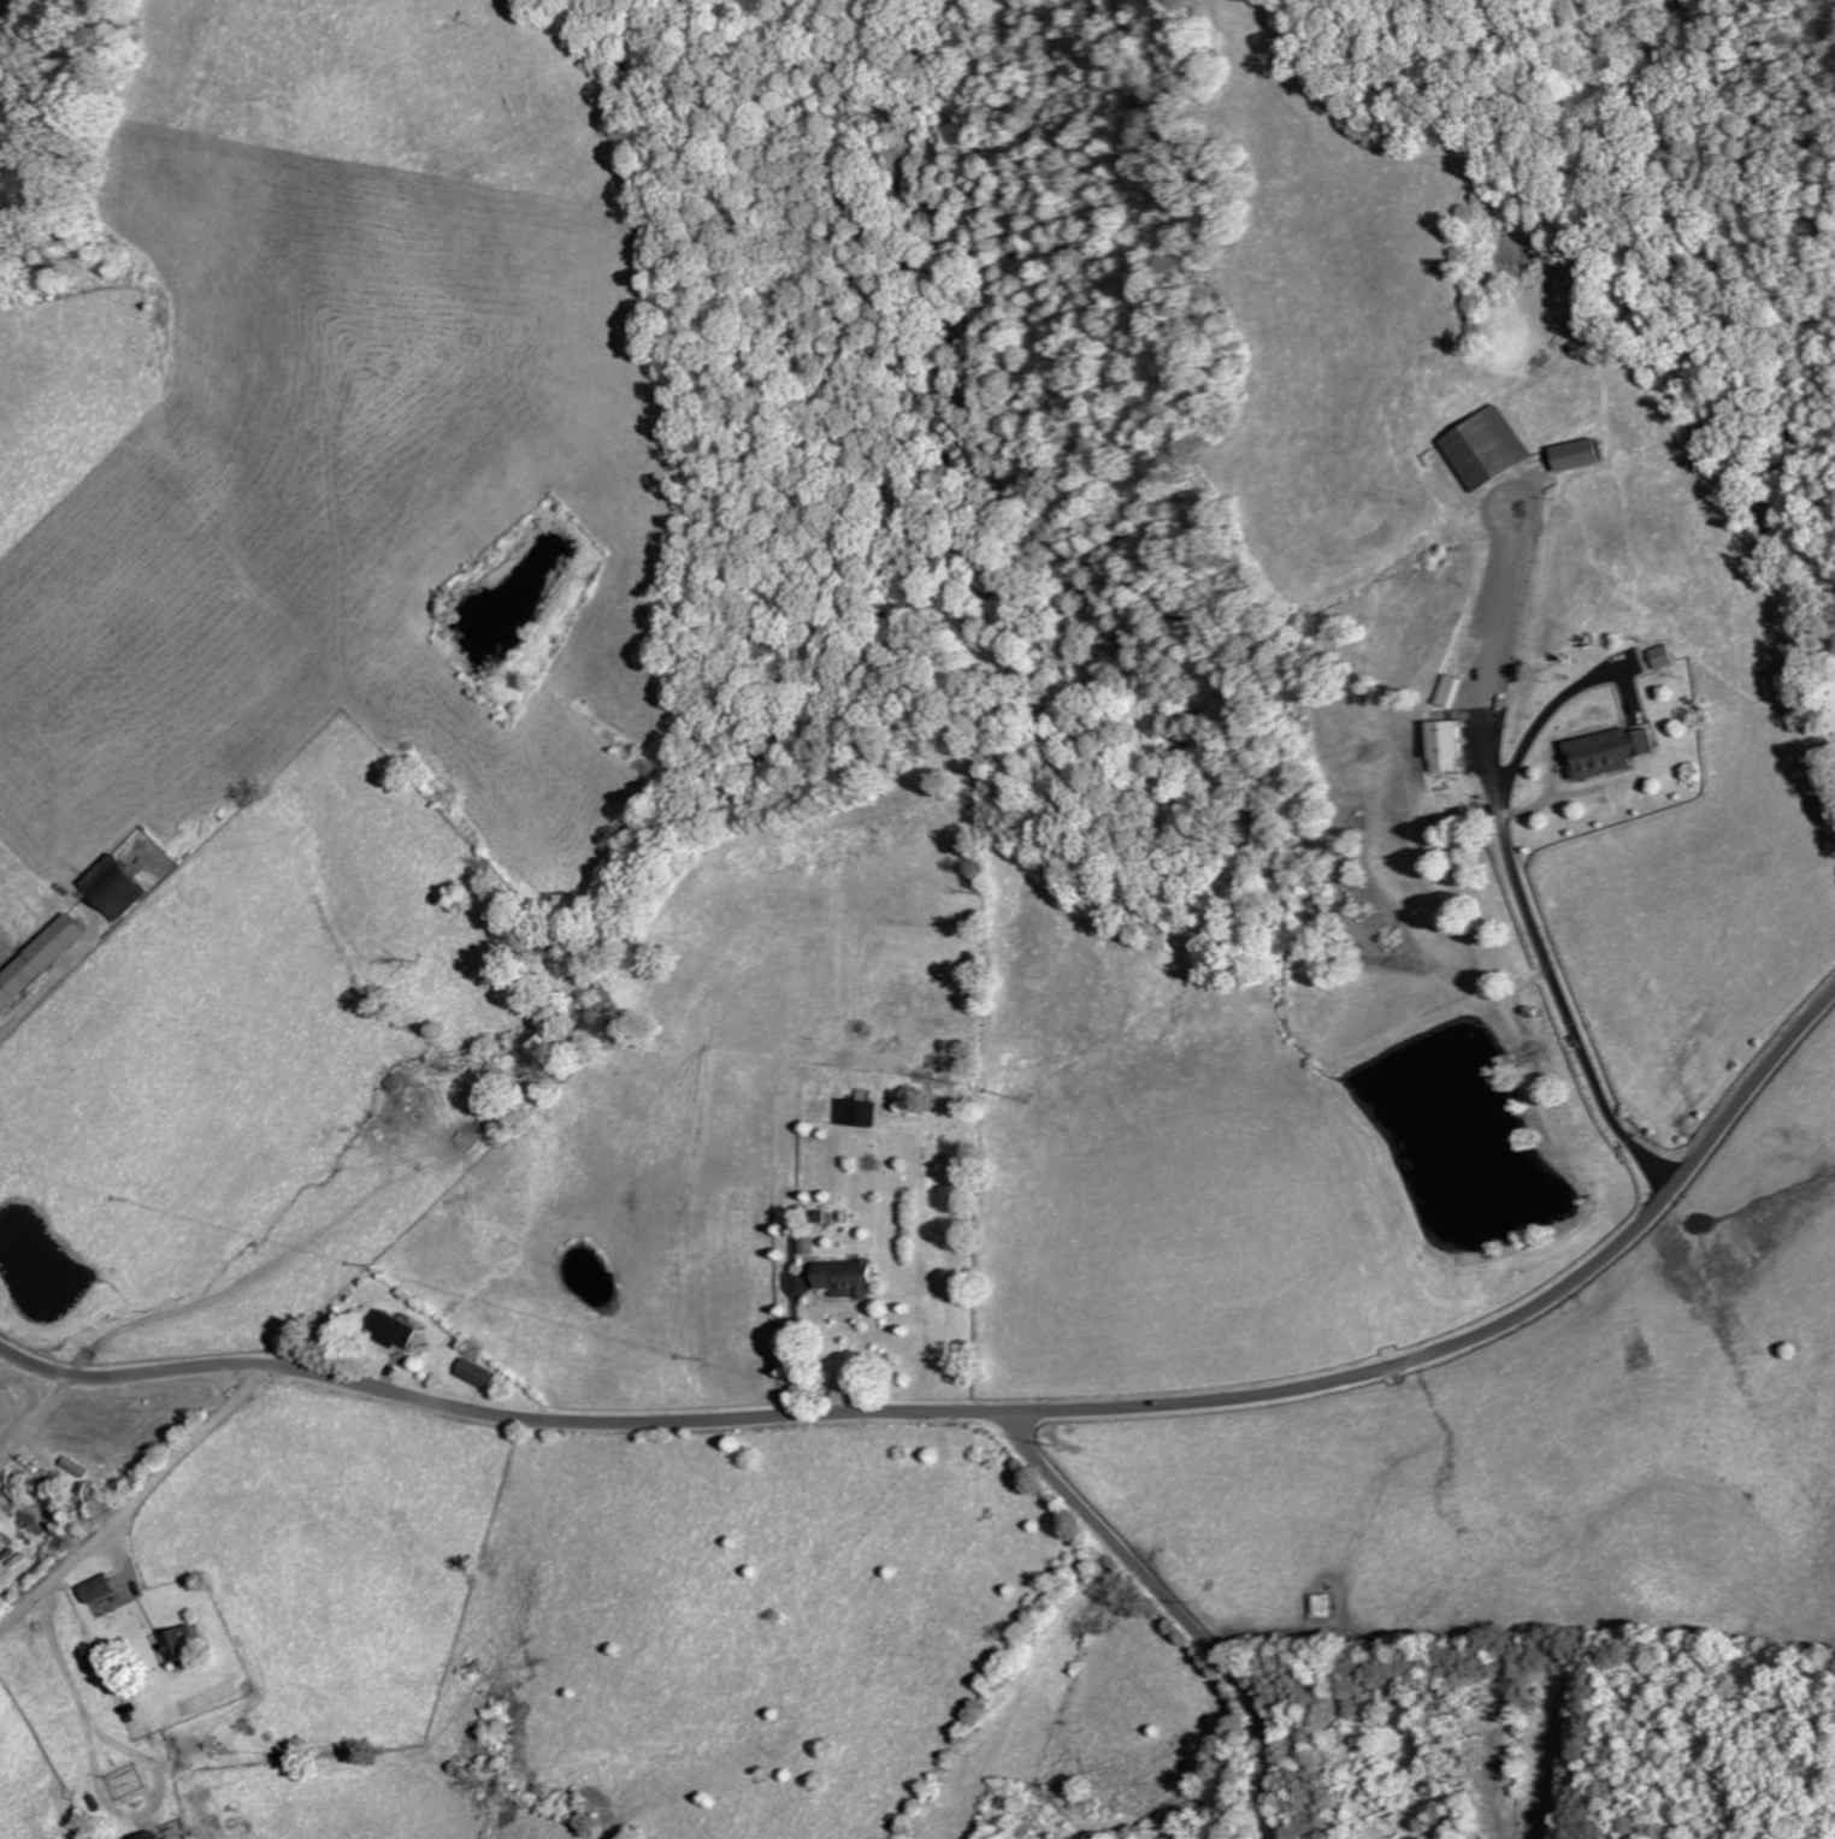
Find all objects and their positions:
road: (13, 11)
building: (1485, 448)
building: (1574, 455)
building: (1662, 657)
building: (1455, 691)
building: (1451, 745)
building: (1605, 752)
building: (113, 889)
building: (37, 959)
building: (856, 1113)
building: (844, 1278)
building: (394, 1331)
road: (1482, 1332)
building: (476, 1373)
road: (492, 1401)
road: (1003, 1411)
road: (1173, 1606)
building: (191, 1644)
building: (157, 1835)

